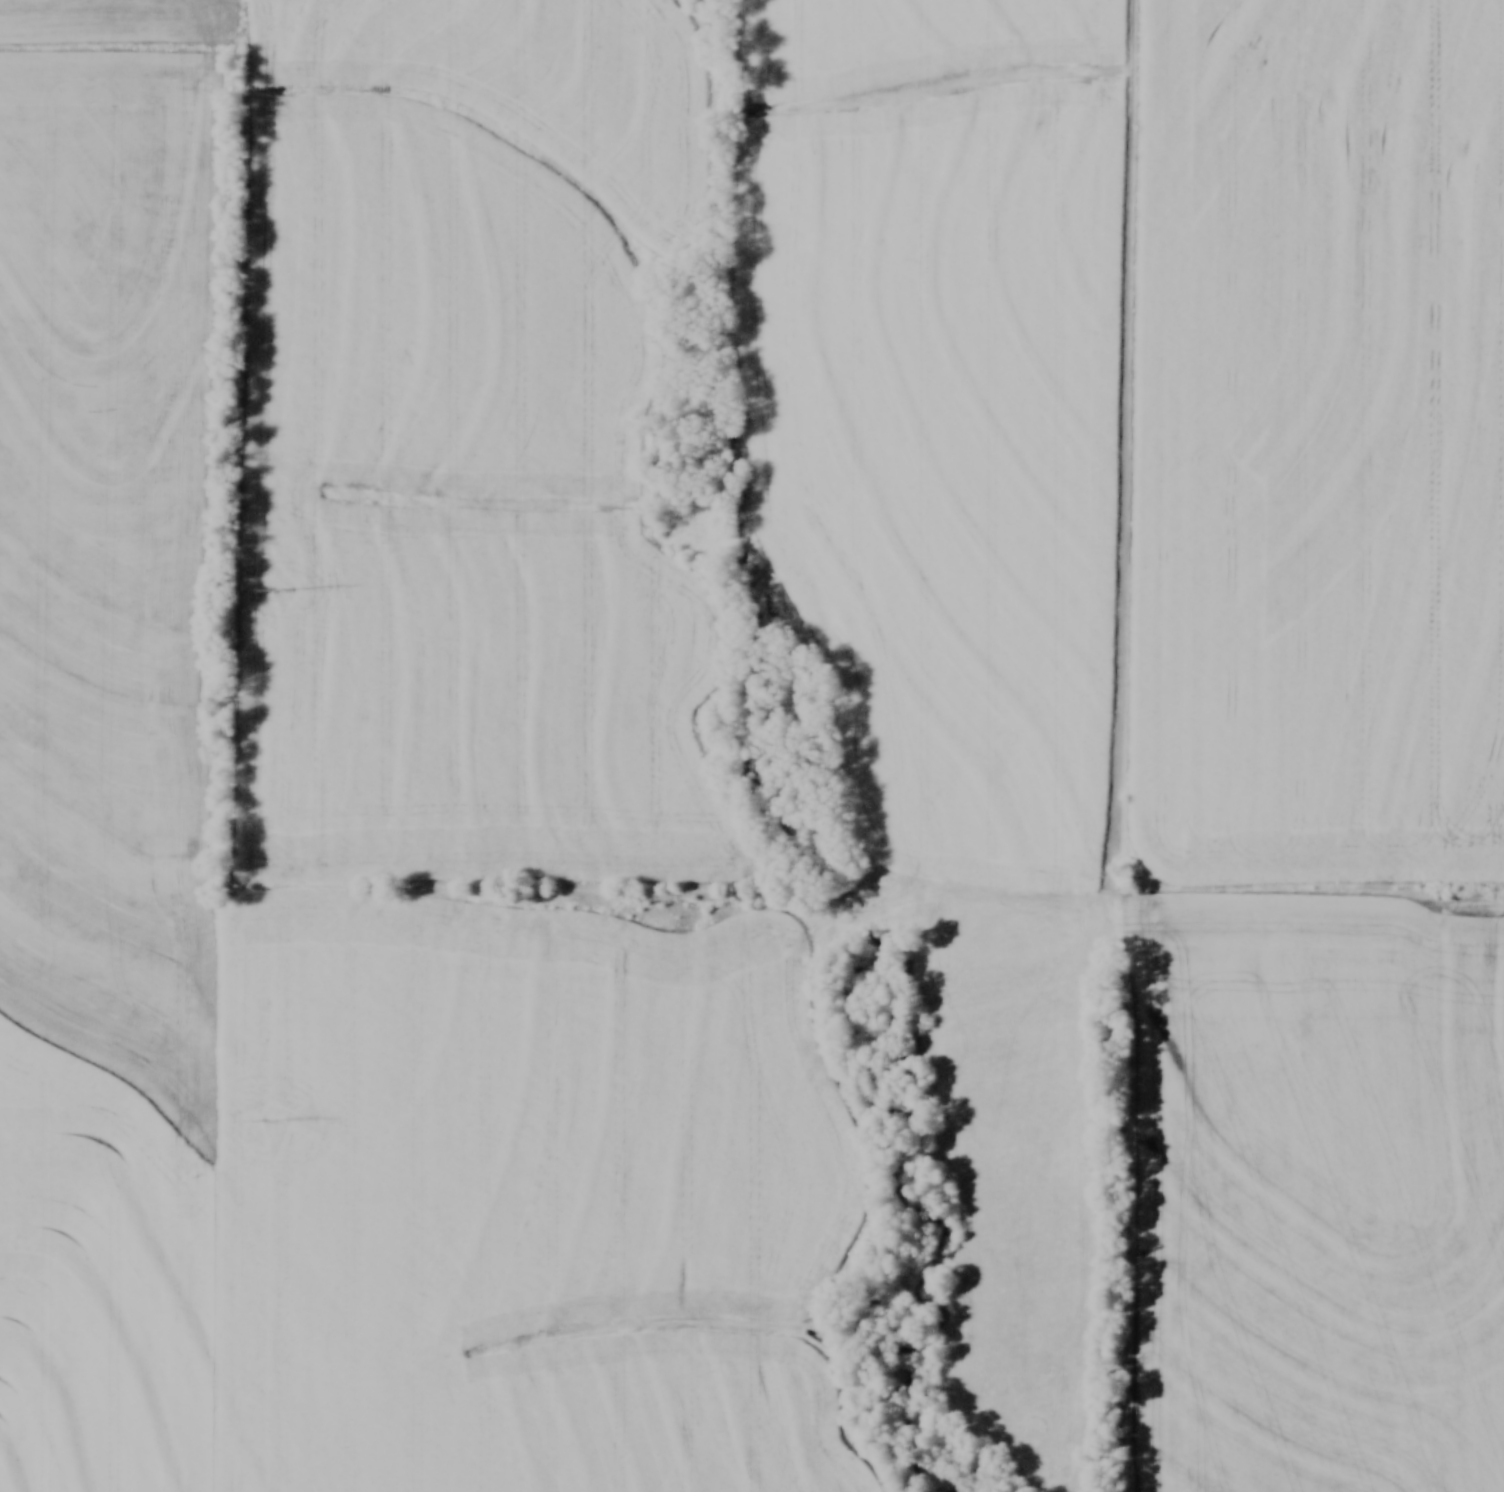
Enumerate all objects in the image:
power tower: (285, 587)
power tower: (272, 1119)

